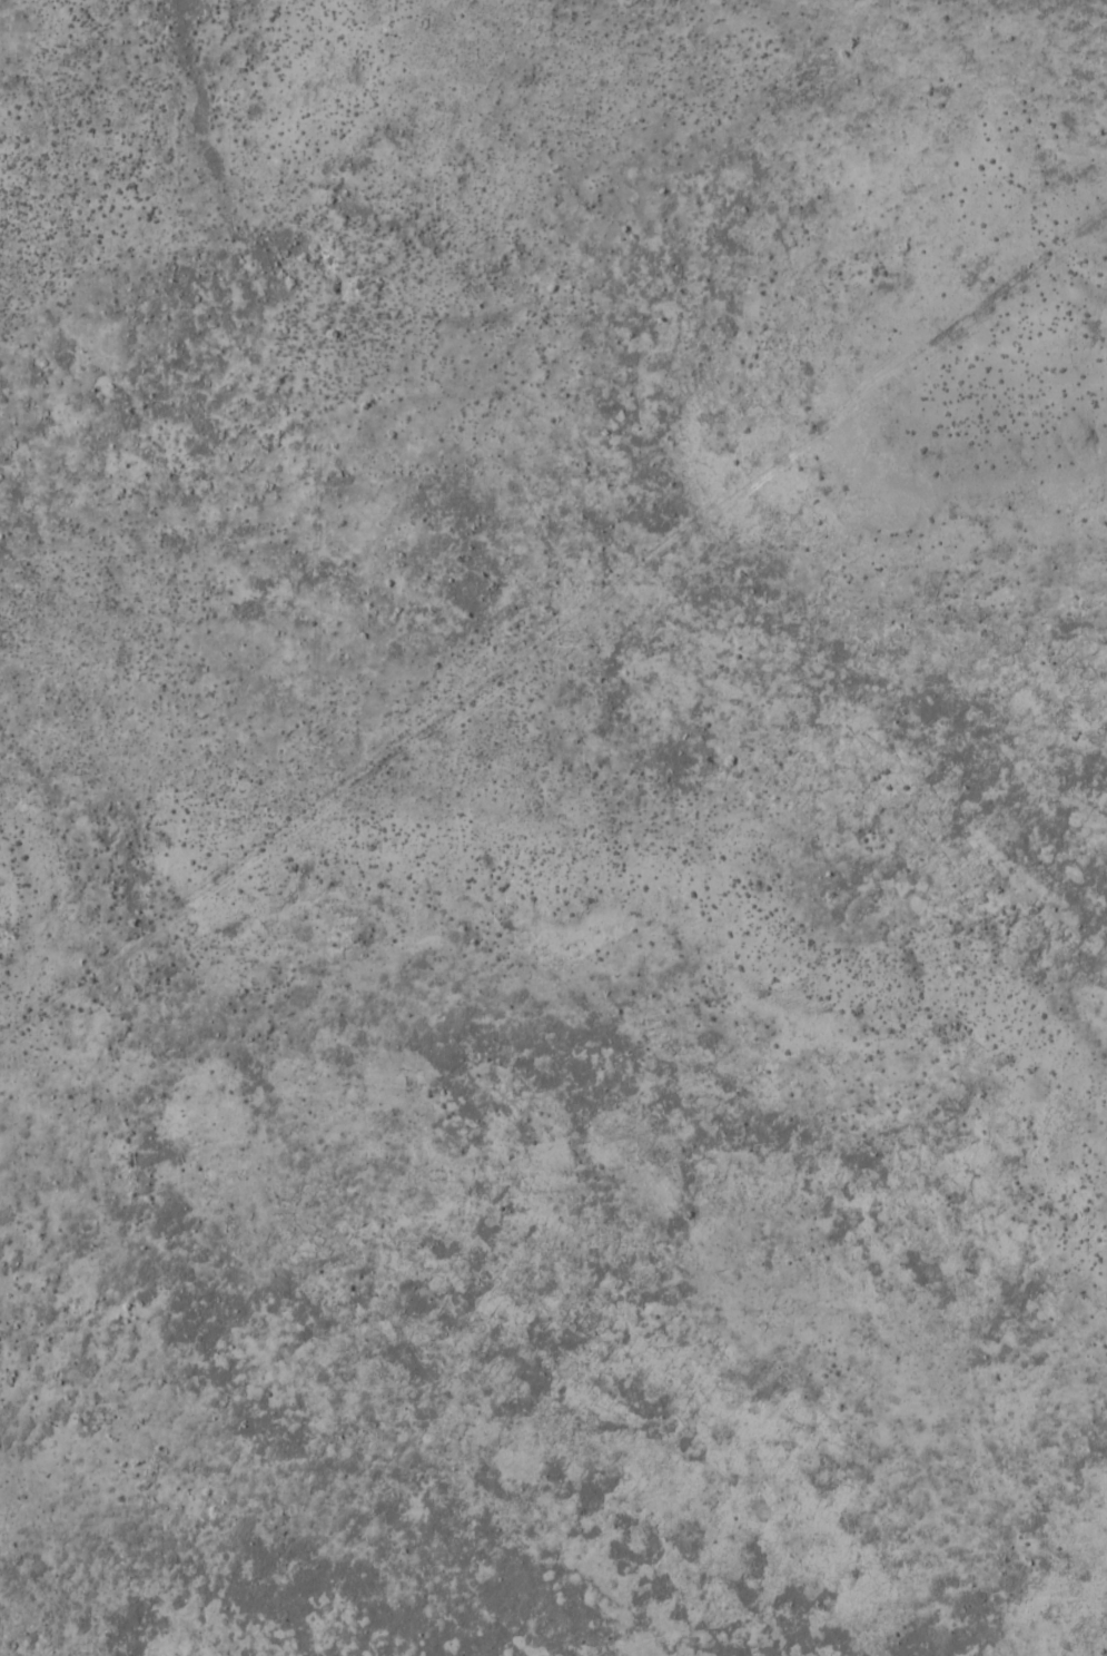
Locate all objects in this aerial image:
road: (556, 635)

